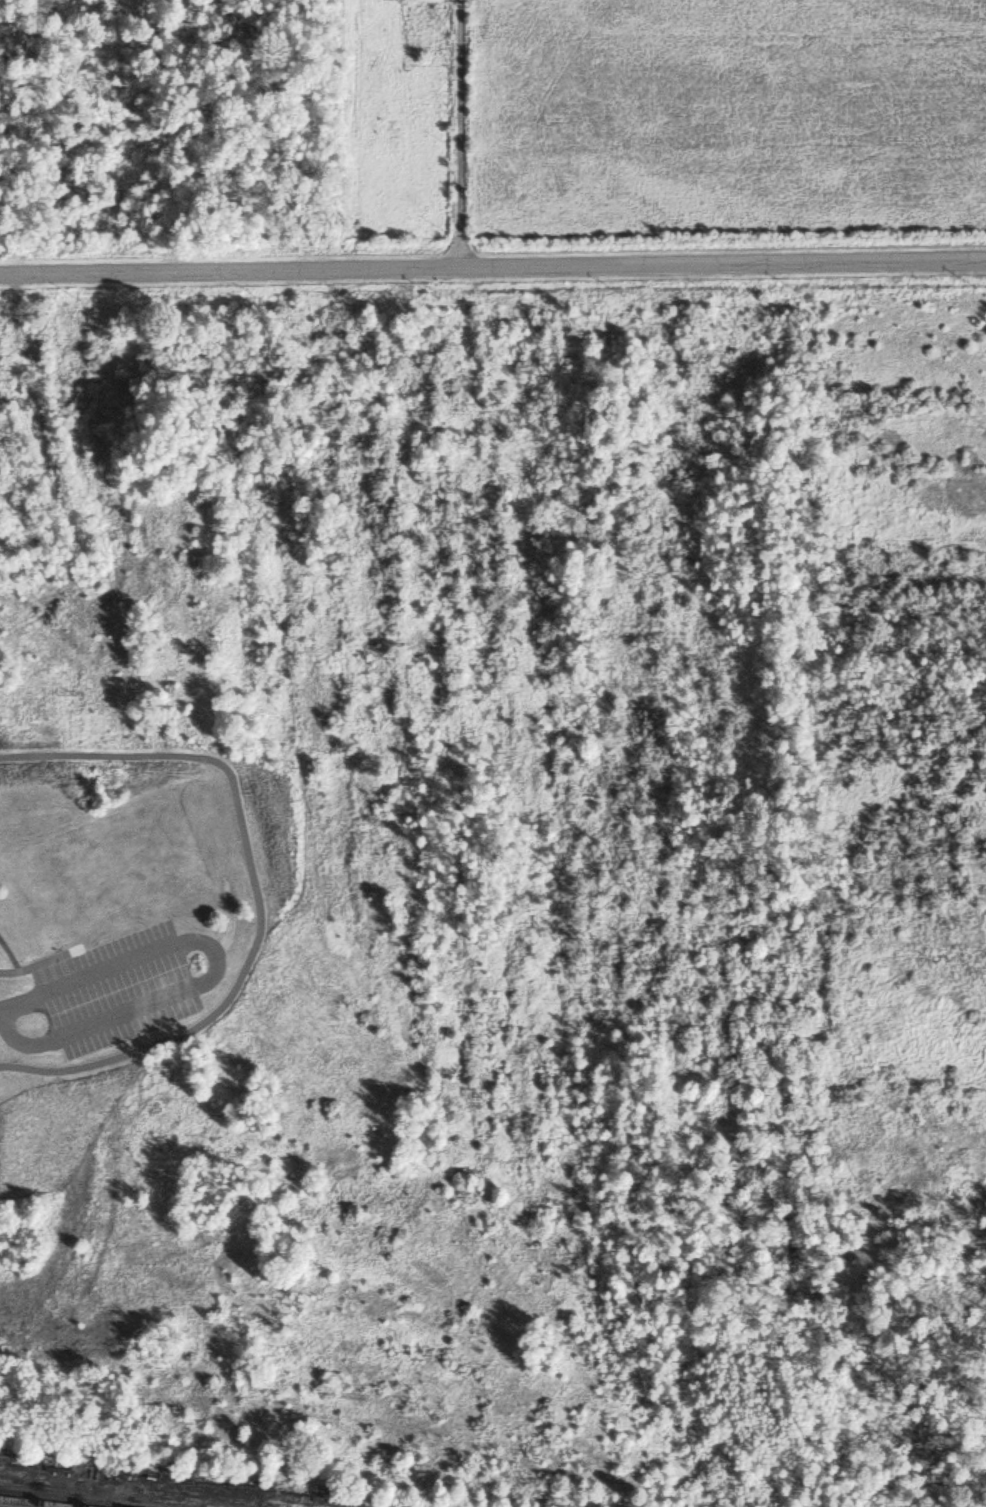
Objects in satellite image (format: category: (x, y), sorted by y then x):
road: (456, 133)
road: (493, 266)
railway: (27, 1503)

